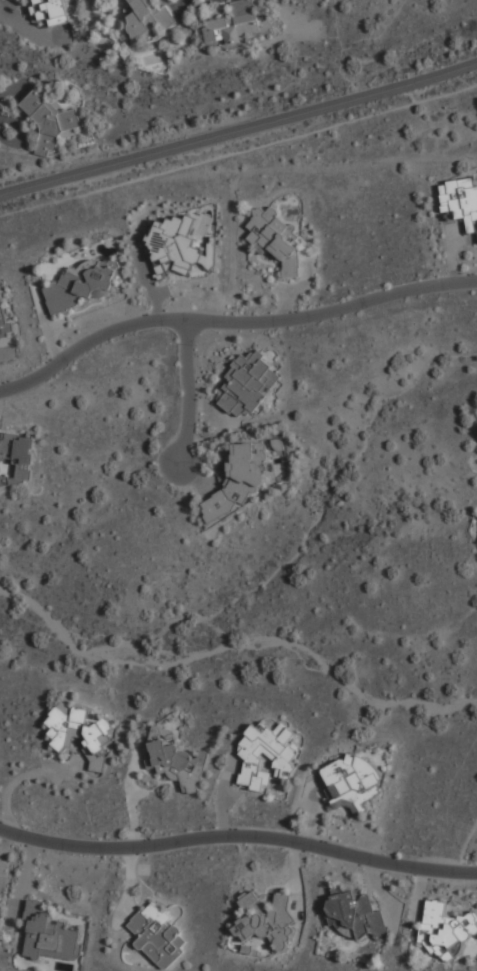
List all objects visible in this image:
building: (52, 12)
building: (147, 18)
building: (232, 25)
building: (51, 121)
road: (239, 129)
road: (239, 152)
building: (461, 202)
building: (275, 238)
building: (176, 247)
building: (81, 285)
building: (5, 320)
road: (231, 321)
building: (249, 384)
road: (188, 395)
building: (18, 455)
building: (239, 480)
building: (78, 729)
building: (267, 754)
building: (177, 759)
road: (24, 775)
building: (351, 782)
road: (131, 797)
road: (238, 835)
road: (4, 851)
building: (249, 899)
building: (354, 913)
building: (269, 923)
building: (445, 930)
building: (50, 935)
building: (159, 936)

